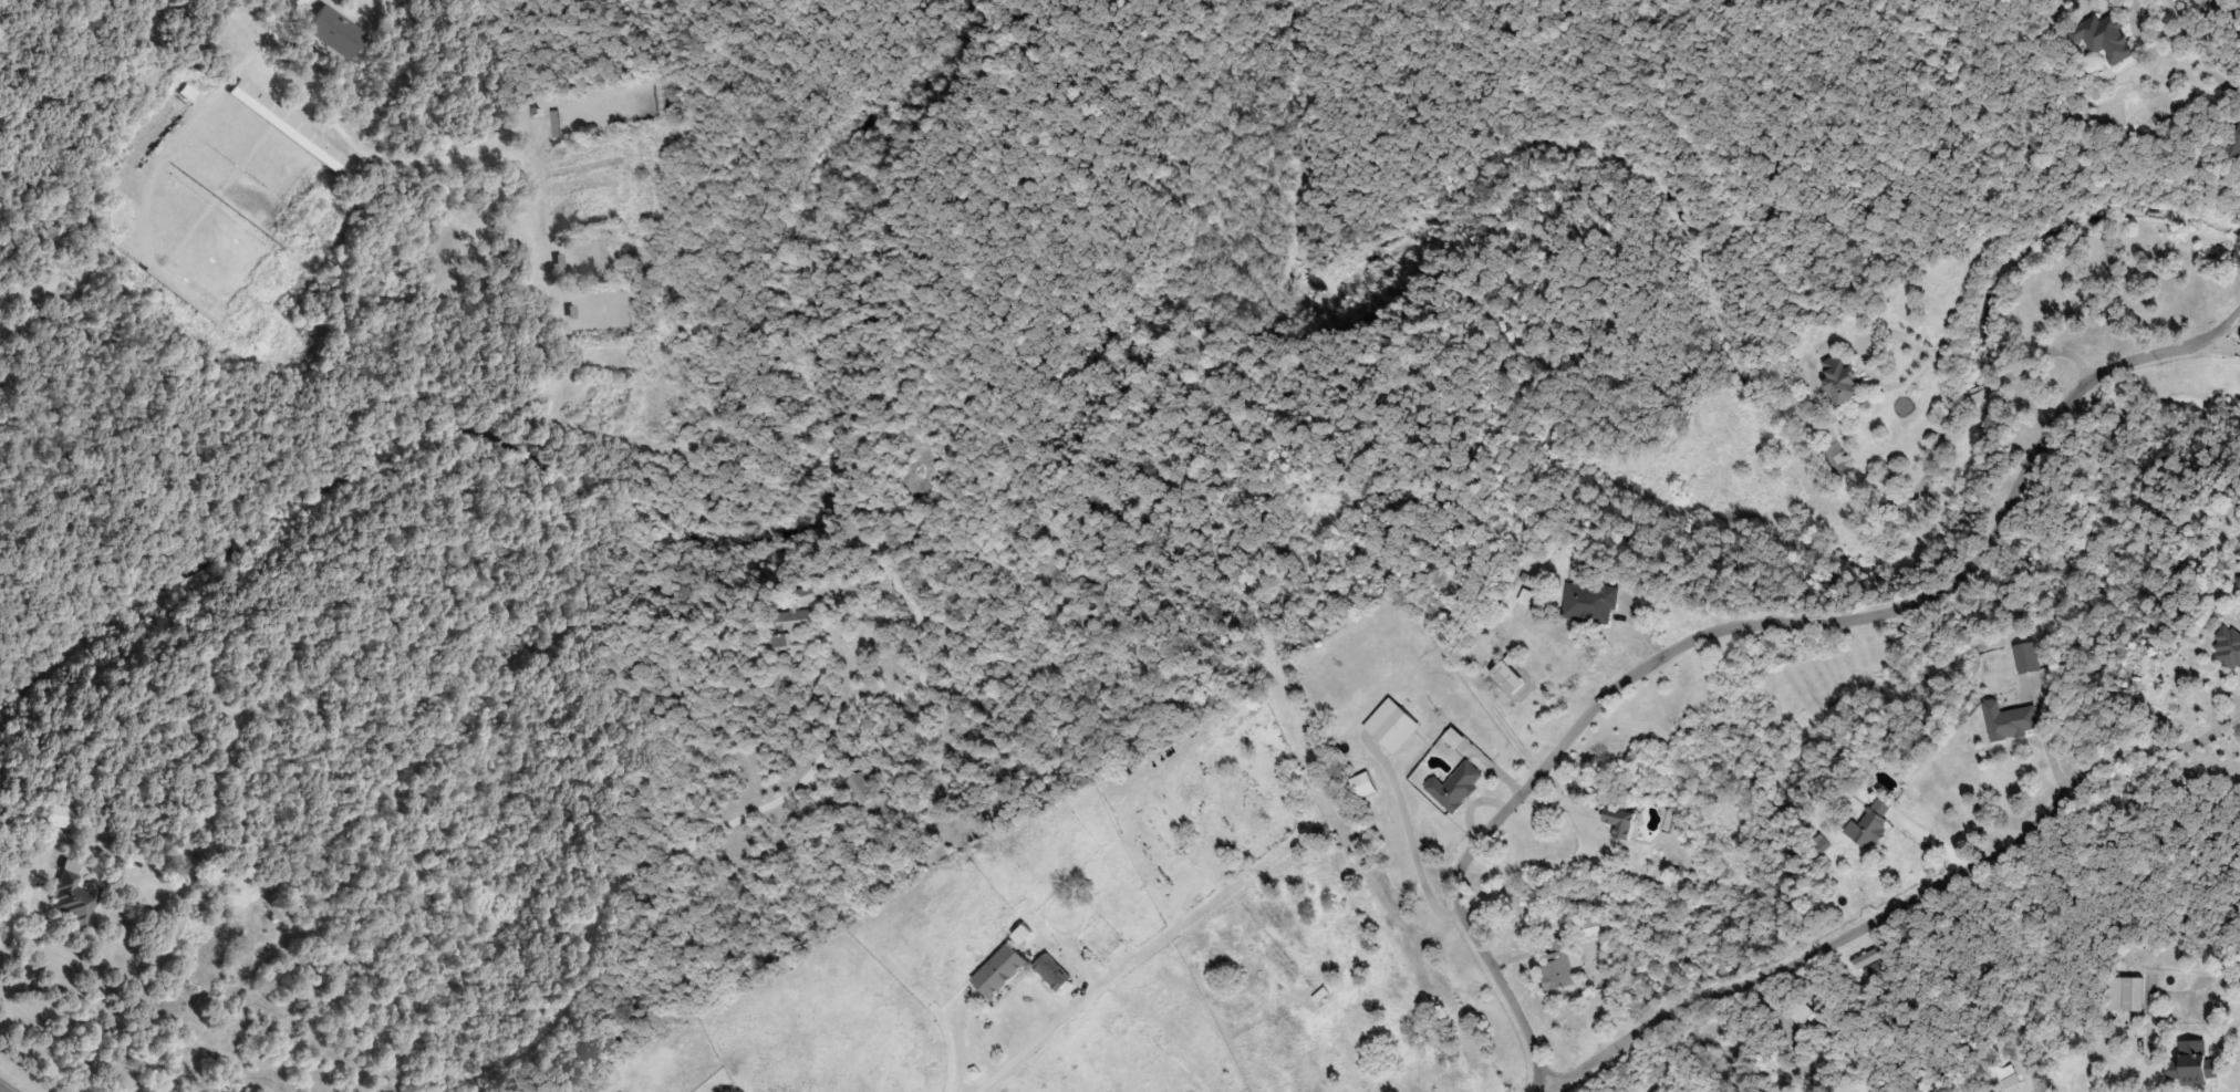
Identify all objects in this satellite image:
building: (333, 18)
building: (2104, 38)
building: (286, 124)
building: (2236, 141)
building: (1839, 379)
road: (1942, 441)
road: (1897, 482)
building: (1589, 602)
building: (794, 622)
road: (1750, 623)
building: (2228, 646)
building: (2028, 656)
building: (2009, 719)
building: (1392, 725)
building: (1362, 784)
building: (1455, 787)
building: (864, 791)
building: (58, 817)
building: (1619, 820)
building: (1869, 823)
building: (1814, 847)
building: (69, 884)
road: (1891, 901)
building: (1557, 964)
building: (1000, 970)
building: (1054, 970)
road: (1101, 991)
building: (2125, 994)
building: (1802, 1015)
building: (2191, 1070)

